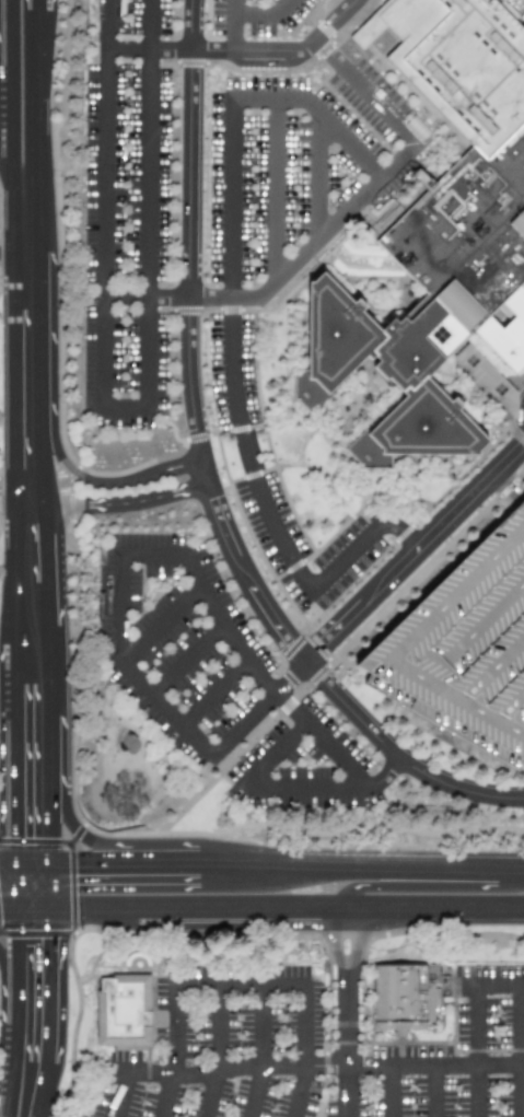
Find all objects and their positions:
road: (47, 5)
road: (263, 14)
road: (231, 24)
road: (46, 49)
road: (238, 49)
building: (461, 63)
road: (3, 91)
road: (364, 91)
road: (2, 98)
road: (267, 102)
road: (46, 133)
road: (341, 139)
road: (315, 178)
road: (273, 193)
road: (103, 202)
road: (147, 202)
road: (335, 221)
road: (14, 255)
road: (28, 283)
road: (181, 296)
building: (438, 300)
road: (123, 407)
road: (238, 426)
road: (207, 477)
road: (94, 479)
road: (16, 497)
road: (123, 502)
road: (416, 552)
road: (150, 556)
road: (160, 625)
road: (33, 627)
building: (468, 643)
parking garage: (468, 643)
road: (186, 661)
road: (129, 670)
road: (261, 680)
road: (214, 694)
road: (16, 696)
road: (258, 709)
road: (286, 789)
traffic signals: (30, 835)
road: (124, 843)
road: (15, 863)
traffic signals: (84, 864)
road: (277, 865)
road: (22, 885)
road: (428, 885)
road: (39, 886)
road: (31, 908)
road: (286, 908)
road: (7, 915)
traffic signals: (49, 949)
road: (346, 976)
road: (4, 979)
road: (253, 982)
road: (469, 985)
road: (48, 986)
building: (407, 996)
road: (10, 1001)
building: (124, 1010)
road: (218, 1028)
road: (259, 1028)
road: (368, 1068)
road: (147, 1079)
road: (345, 1080)
road: (44, 1090)
road: (473, 1091)
road: (389, 1092)
road: (432, 1092)
road: (253, 1095)
road: (208, 1096)
road: (165, 1097)
road: (1, 1106)
road: (523, 1109)

